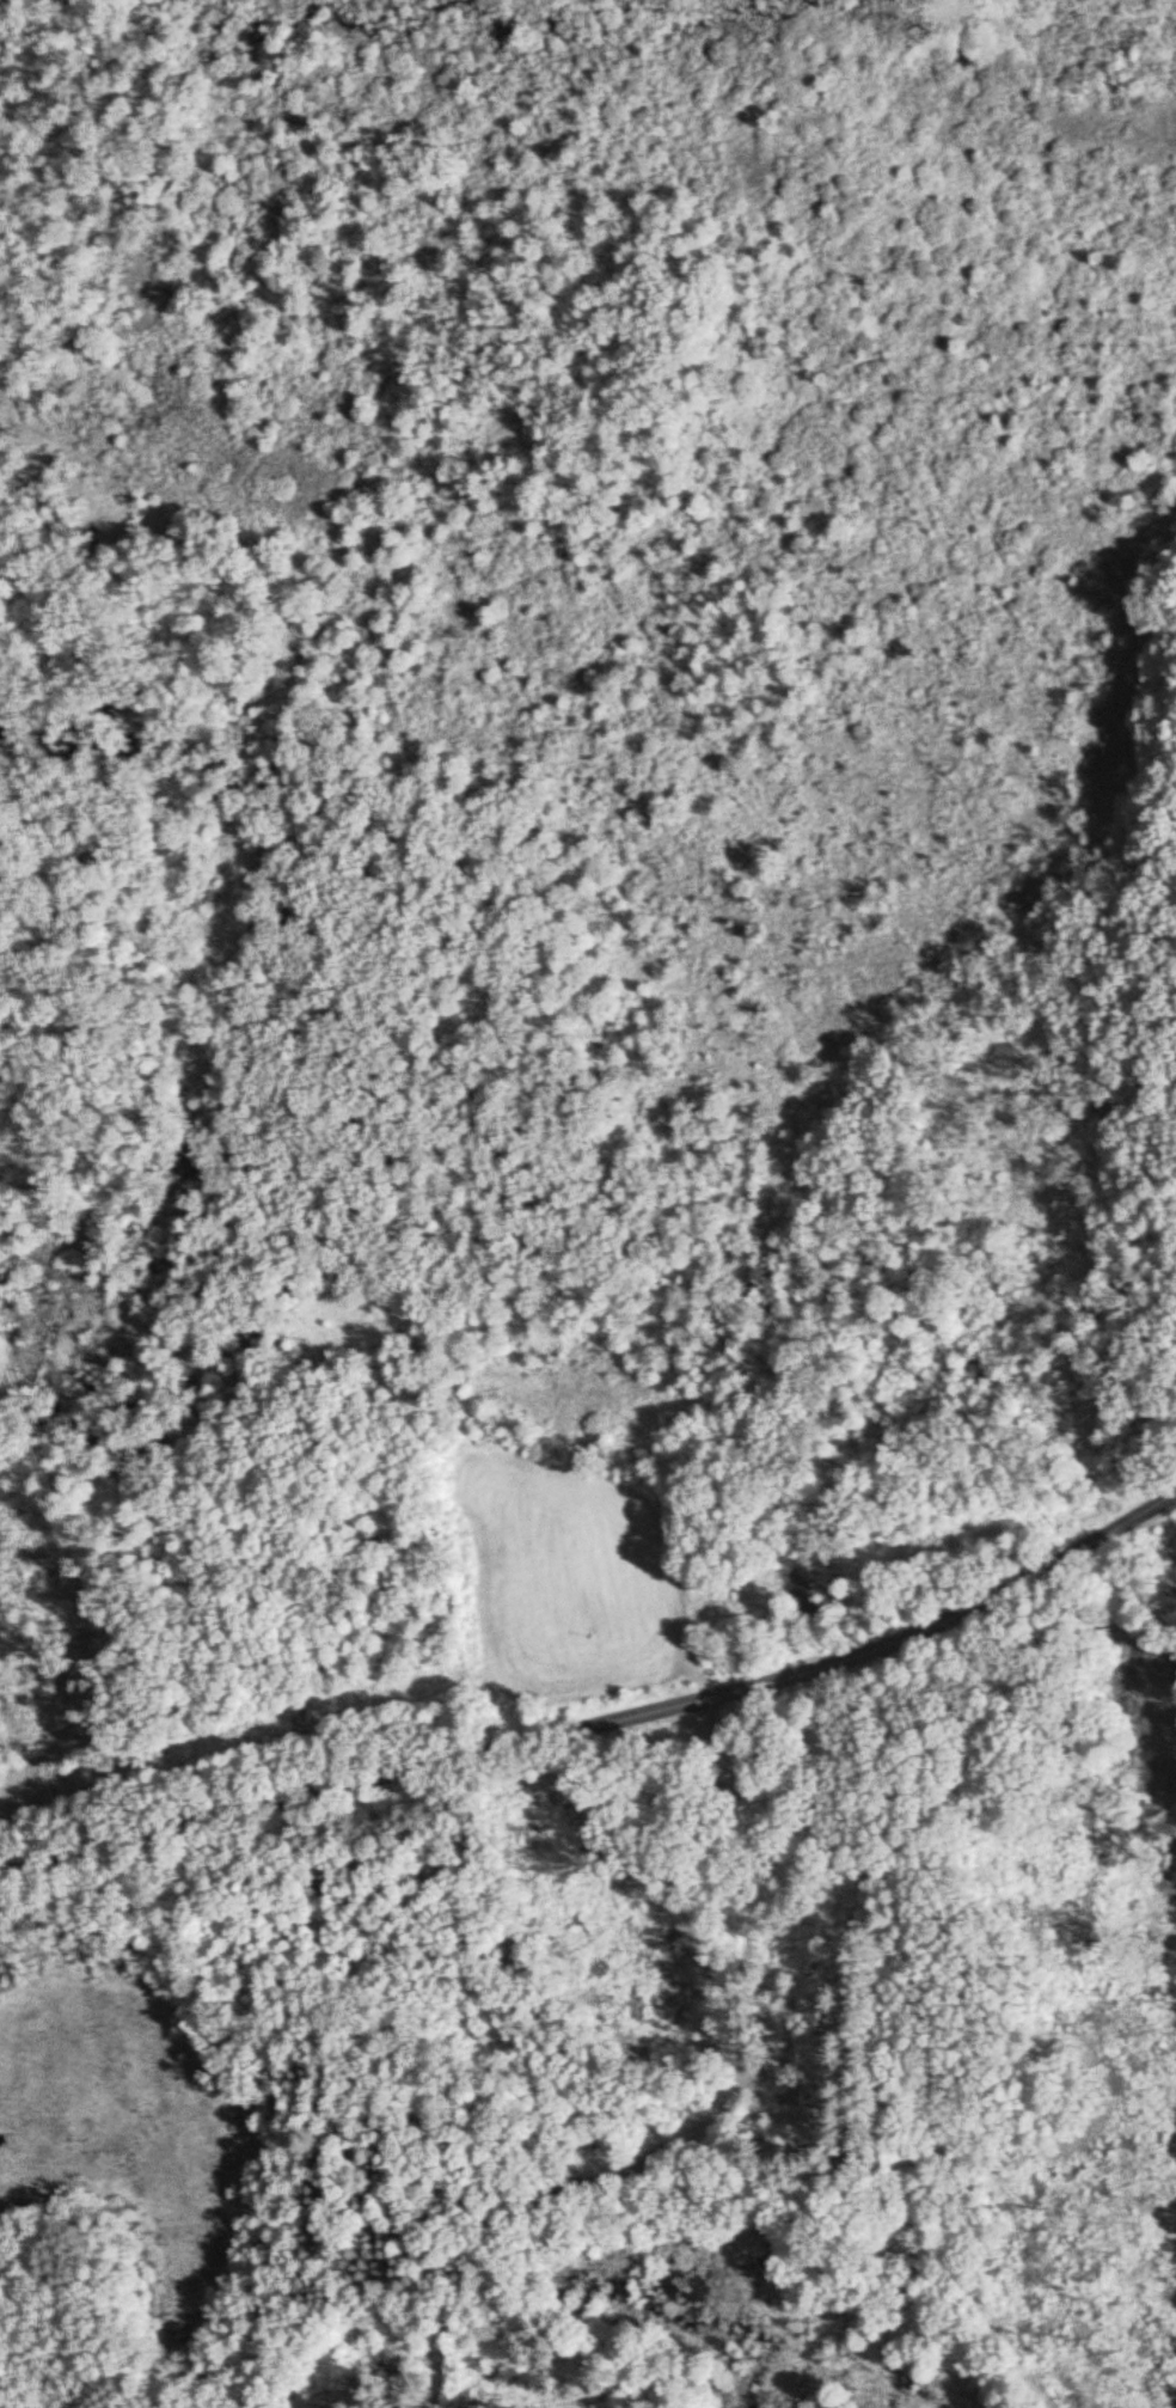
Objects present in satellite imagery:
road: (121, 1578)
road: (604, 1730)

